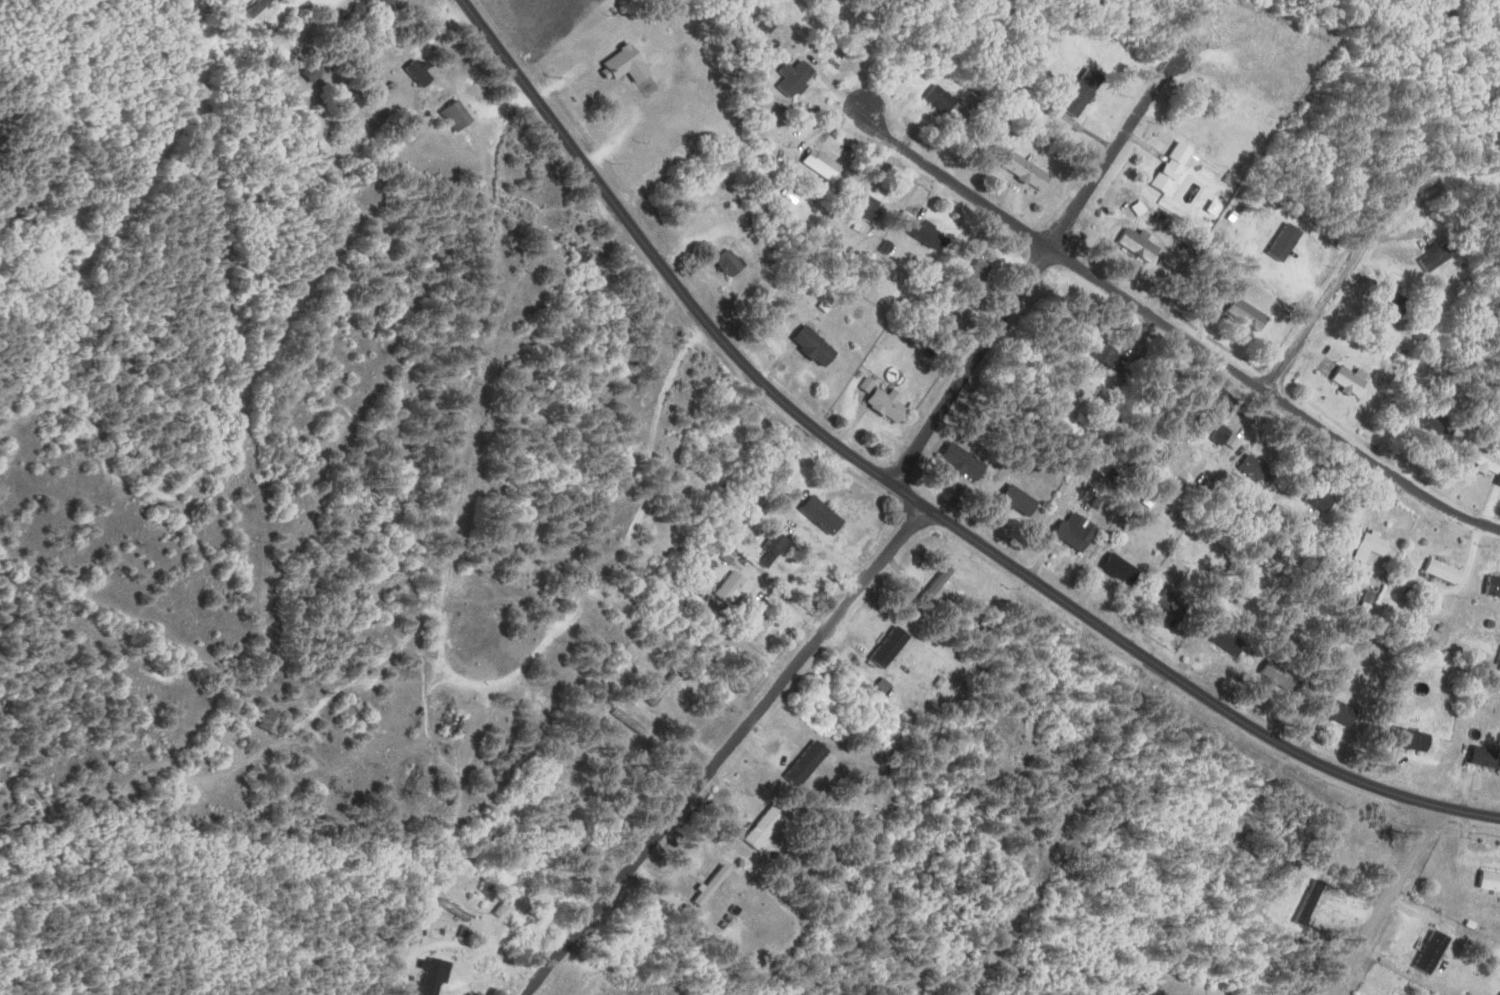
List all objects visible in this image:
building: (388, 5)
building: (259, 8)
building: (1445, 11)
building: (629, 64)
building: (317, 70)
building: (421, 72)
building: (801, 77)
building: (1086, 92)
building: (946, 102)
building: (459, 116)
building: (825, 162)
building: (1170, 169)
building: (1031, 172)
building: (34, 220)
building: (929, 232)
building: (1143, 246)
building: (584, 252)
building: (1441, 256)
building: (732, 263)
road: (1031, 270)
road: (1344, 271)
building: (1399, 307)
building: (1250, 316)
road: (1176, 327)
building: (818, 346)
road: (679, 353)
building: (1116, 358)
building: (1354, 379)
road: (468, 383)
building: (888, 402)
building: (1224, 433)
building: (964, 460)
building: (1488, 460)
building: (1260, 470)
building: (511, 485)
road: (912, 497)
building: (1321, 498)
building: (825, 515)
building: (1078, 531)
building: (1375, 546)
building: (777, 550)
building: (1125, 569)
building: (1447, 571)
building: (938, 585)
building: (1495, 585)
building: (734, 586)
building: (636, 595)
building: (1176, 602)
building: (704, 632)
road: (405, 639)
building: (1231, 640)
building: (893, 646)
building: (1280, 671)
building: (356, 709)
building: (1347, 713)
building: (274, 722)
building: (634, 722)
building: (458, 726)
building: (1419, 740)
road: (725, 750)
building: (1488, 756)
building: (809, 764)
building: (516, 765)
building: (767, 827)
building: (1491, 880)
road: (1381, 899)
building: (1435, 952)
building: (437, 978)

